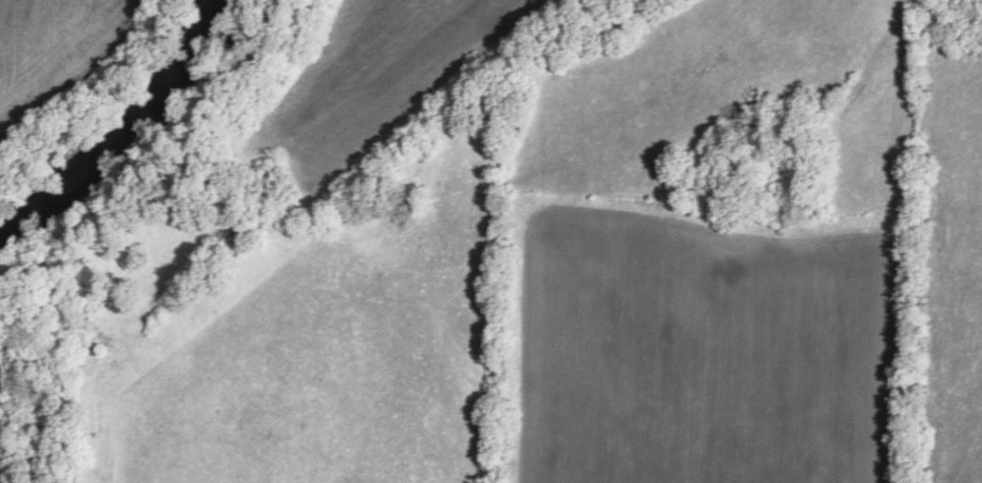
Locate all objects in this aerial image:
river: (126, 135)

